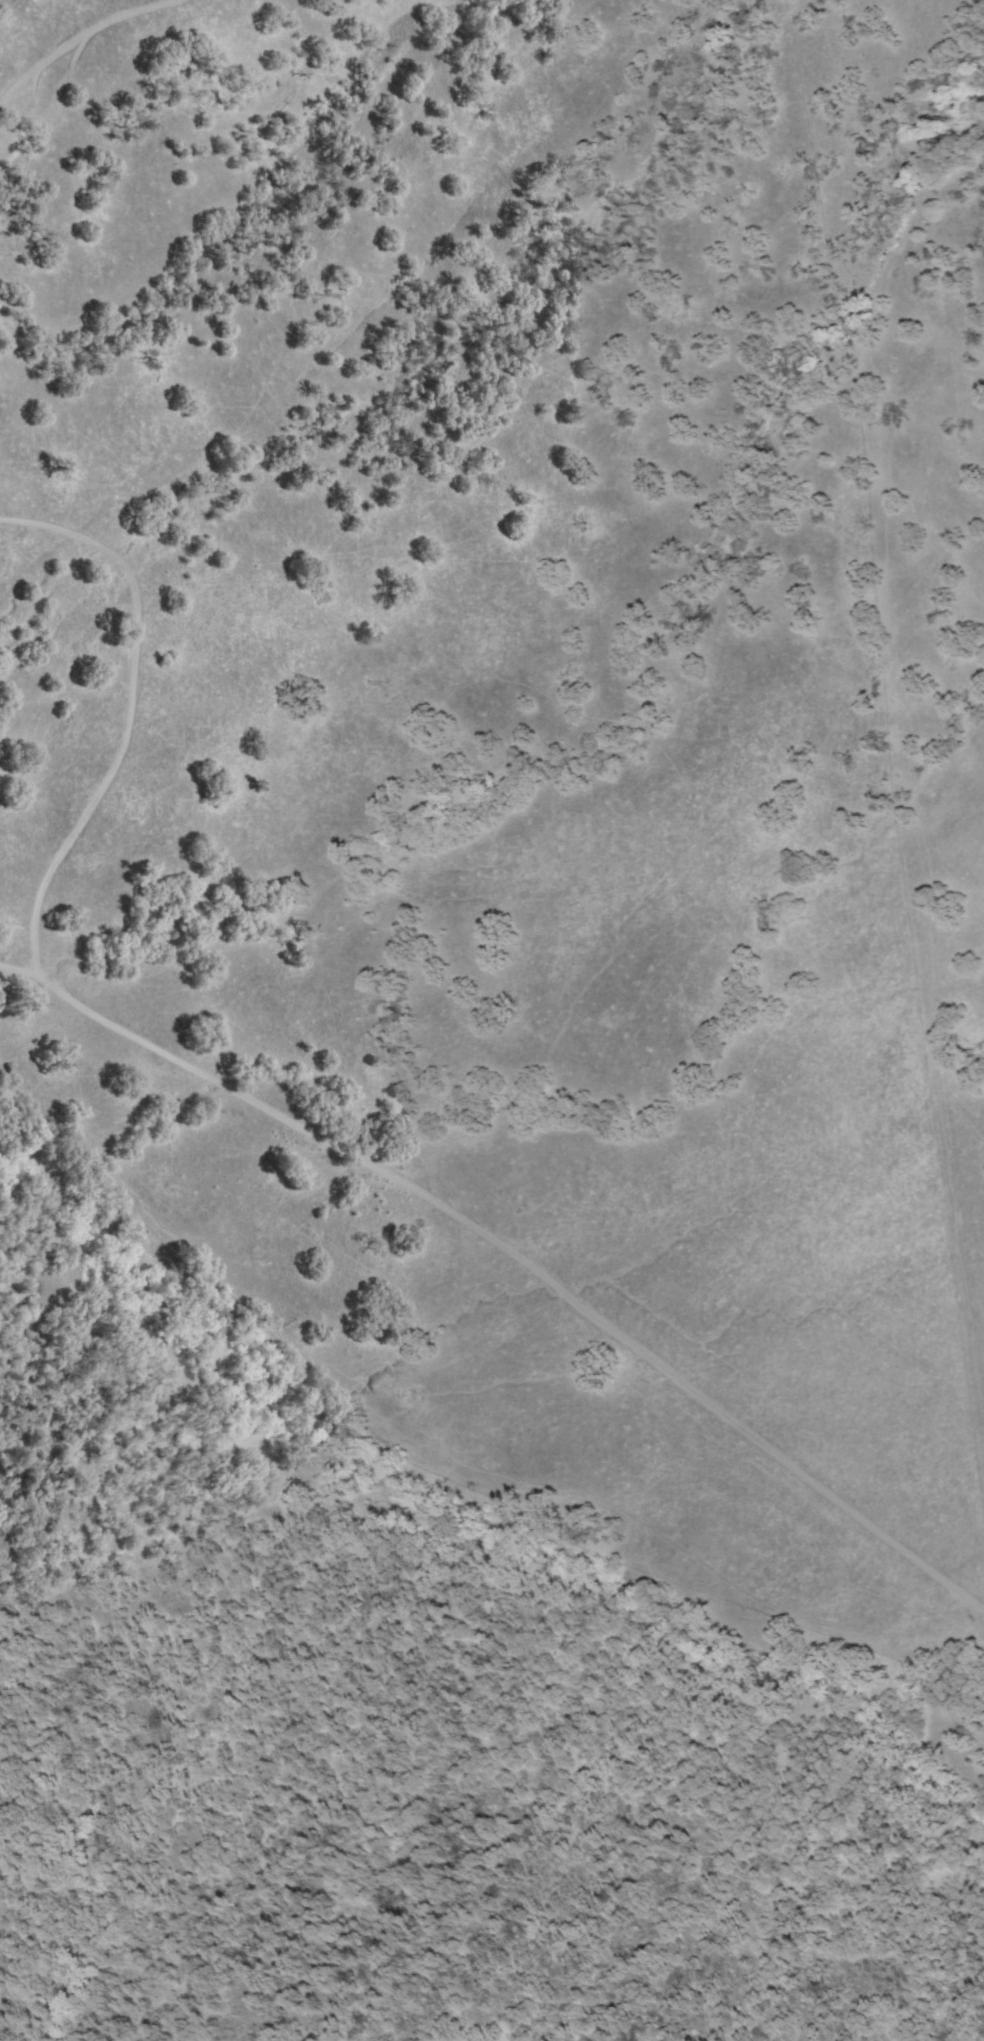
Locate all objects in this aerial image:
road: (262, 436)
road: (511, 1255)

